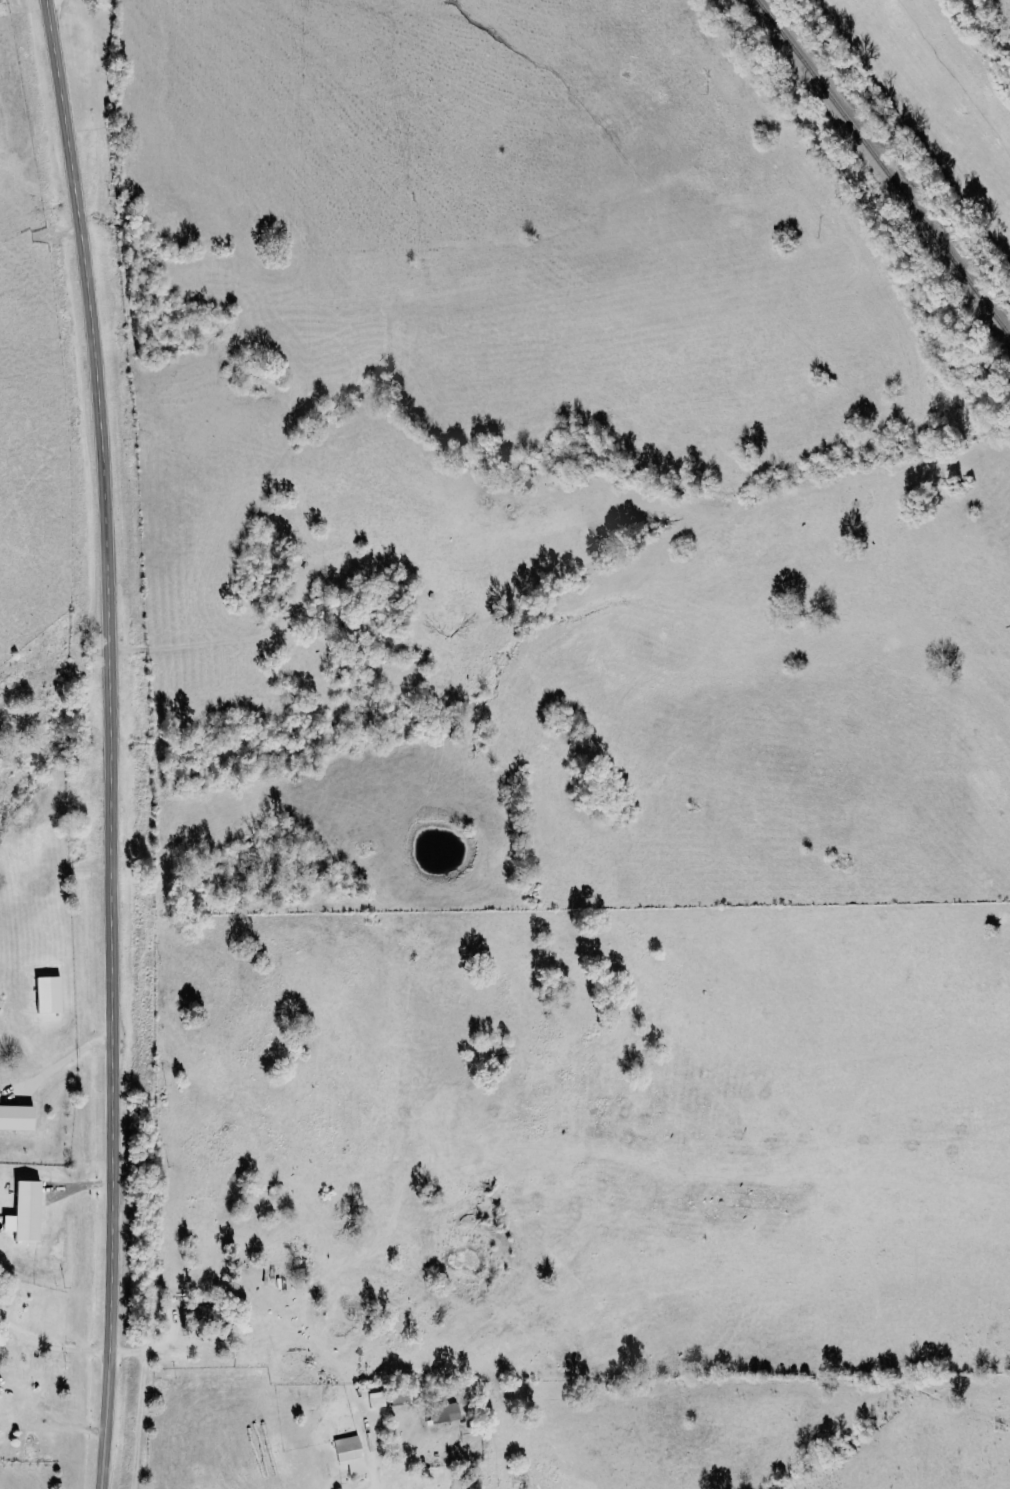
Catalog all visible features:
railway: (880, 171)
road: (109, 742)
building: (46, 998)
building: (15, 1117)
building: (23, 1212)
building: (444, 1412)
building: (31, 1450)
building: (349, 1453)

